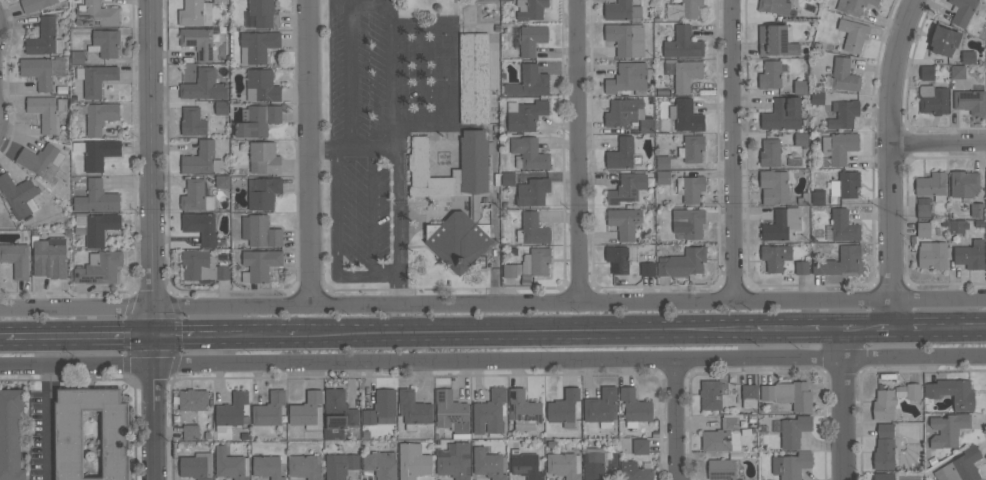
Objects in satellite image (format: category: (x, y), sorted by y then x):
building: (506, 0)
building: (985, 0)
building: (220, 1)
building: (35, 4)
road: (369, 5)
building: (773, 6)
building: (854, 6)
building: (530, 9)
building: (683, 9)
building: (961, 10)
building: (622, 11)
building: (194, 13)
building: (263, 13)
building: (97, 15)
building: (853, 34)
building: (44, 38)
building: (532, 39)
building: (626, 39)
building: (943, 40)
building: (775, 41)
building: (198, 42)
building: (105, 43)
building: (683, 43)
building: (257, 46)
building: (968, 56)
building: (77, 57)
building: (42, 70)
building: (957, 71)
building: (927, 72)
building: (683, 73)
building: (770, 75)
building: (843, 75)
building: (473, 78)
building: (95, 79)
building: (627, 79)
building: (529, 82)
building: (203, 86)
building: (261, 86)
building: (800, 86)
building: (817, 97)
building: (933, 99)
building: (970, 101)
building: (221, 108)
building: (43, 112)
building: (623, 112)
building: (783, 114)
building: (844, 114)
building: (525, 115)
building: (686, 115)
building: (99, 116)
building: (256, 120)
building: (192, 122)
building: (646, 125)
building: (801, 139)
road: (940, 142)
building: (839, 147)
building: (693, 148)
road: (732, 149)
road: (577, 150)
road: (310, 151)
building: (96, 152)
building: (770, 152)
building: (528, 154)
building: (621, 154)
building: (263, 158)
building: (201, 159)
road: (895, 160)
building: (41, 161)
building: (662, 162)
building: (662, 177)
building: (507, 179)
building: (222, 181)
road: (399, 183)
building: (964, 183)
building: (845, 185)
building: (932, 185)
building: (773, 187)
building: (627, 188)
building: (690, 188)
building: (453, 192)
building: (532, 192)
building: (263, 193)
building: (19, 196)
building: (195, 196)
building: (817, 196)
building: (96, 198)
building: (985, 201)
building: (977, 209)
building: (923, 210)
building: (624, 222)
building: (688, 222)
building: (782, 224)
building: (200, 226)
building: (843, 226)
building: (957, 226)
building: (97, 227)
building: (532, 229)
building: (923, 229)
building: (260, 231)
road: (158, 240)
building: (932, 255)
building: (970, 255)
building: (775, 256)
building: (49, 257)
building: (16, 258)
building: (617, 259)
building: (534, 262)
building: (683, 262)
building: (839, 262)
building: (260, 264)
building: (199, 266)
building: (801, 267)
building: (99, 268)
building: (647, 269)
building: (509, 270)
building: (222, 272)
road: (354, 275)
road: (386, 275)
road: (493, 301)
road: (884, 325)
road: (940, 325)
road: (865, 326)
road: (850, 327)
road: (571, 331)
road: (228, 336)
traffic signals: (159, 337)
road: (82, 338)
road: (2, 339)
road: (492, 364)
building: (913, 391)
building: (952, 393)
building: (710, 394)
building: (789, 395)
building: (749, 396)
building: (193, 399)
road: (844, 403)
building: (884, 405)
building: (601, 407)
building: (634, 407)
building: (381, 408)
building: (564, 408)
building: (269, 409)
building: (413, 409)
building: (231, 411)
building: (307, 411)
building: (523, 411)
building: (451, 412)
building: (490, 413)
building: (338, 414)
road: (678, 421)
road: (50, 424)
building: (947, 429)
building: (794, 431)
building: (190, 432)
building: (10, 435)
building: (722, 437)
building: (68, 443)
building: (640, 446)
building: (884, 448)
building: (412, 461)
building: (454, 461)
building: (597, 463)
building: (231, 464)
building: (380, 464)
building: (488, 464)
building: (525, 465)
building: (564, 465)
building: (791, 465)
building: (196, 466)
building: (305, 466)
building: (340, 466)
building: (960, 466)
building: (267, 467)
building: (636, 470)
building: (722, 470)
building: (883, 476)

